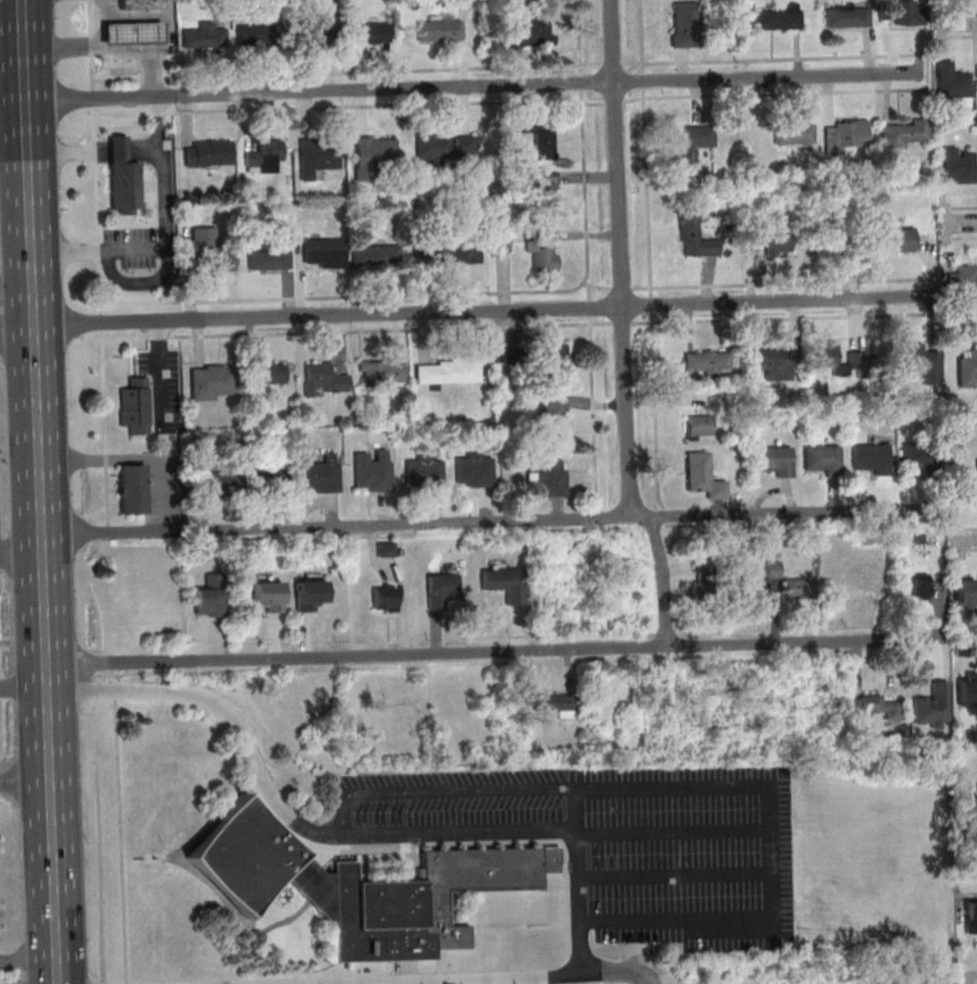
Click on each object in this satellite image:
building: (138, 4)
road: (957, 6)
road: (107, 8)
building: (900, 11)
building: (847, 15)
road: (136, 16)
building: (778, 17)
road: (107, 20)
road: (956, 22)
building: (315, 24)
building: (685, 24)
building: (438, 30)
building: (369, 32)
building: (530, 32)
building: (130, 33)
road: (166, 33)
road: (107, 34)
building: (251, 35)
road: (640, 35)
building: (203, 36)
road: (957, 36)
road: (578, 37)
road: (612, 41)
road: (90, 44)
road: (108, 47)
road: (110, 49)
road: (23, 51)
road: (769, 58)
road: (611, 62)
road: (347, 71)
road: (642, 79)
road: (581, 82)
building: (952, 82)
road: (472, 87)
road: (775, 93)
road: (582, 97)
road: (12, 103)
road: (614, 103)
road: (590, 104)
road: (157, 113)
road: (122, 114)
road: (26, 127)
building: (794, 133)
building: (903, 133)
building: (845, 135)
building: (544, 141)
building: (445, 146)
road: (143, 149)
building: (691, 149)
road: (67, 150)
road: (117, 150)
building: (207, 153)
building: (318, 154)
building: (373, 154)
building: (264, 157)
building: (958, 166)
building: (122, 178)
road: (647, 191)
building: (543, 195)
road: (30, 202)
road: (960, 208)
road: (97, 209)
road: (959, 223)
road: (586, 228)
building: (694, 237)
road: (959, 237)
road: (166, 238)
building: (895, 239)
building: (502, 241)
building: (778, 243)
building: (448, 249)
building: (210, 251)
building: (541, 251)
building: (324, 252)
building: (375, 255)
building: (268, 260)
road: (33, 274)
building: (962, 283)
road: (17, 297)
road: (621, 300)
road: (34, 313)
road: (482, 313)
road: (17, 331)
building: (824, 356)
building: (917, 357)
building: (552, 358)
building: (708, 362)
building: (775, 363)
building: (967, 368)
building: (381, 371)
building: (448, 371)
building: (268, 375)
building: (323, 379)
building: (213, 382)
road: (37, 396)
building: (134, 406)
road: (962, 409)
road: (104, 418)
building: (553, 421)
road: (965, 426)
building: (699, 427)
road: (964, 437)
building: (918, 457)
road: (137, 458)
building: (870, 458)
building: (821, 460)
building: (772, 461)
building: (473, 470)
building: (976, 470)
building: (372, 471)
building: (423, 472)
building: (321, 474)
building: (269, 475)
building: (703, 476)
building: (217, 478)
building: (547, 479)
building: (131, 489)
road: (41, 498)
road: (491, 522)
road: (964, 538)
road: (42, 546)
road: (965, 548)
building: (385, 549)
road: (21, 557)
building: (773, 569)
road: (663, 582)
building: (504, 583)
building: (918, 585)
building: (797, 590)
building: (440, 591)
building: (703, 591)
building: (964, 593)
building: (309, 594)
building: (268, 595)
building: (210, 596)
building: (384, 598)
road: (45, 611)
road: (493, 652)
road: (47, 675)
road: (23, 685)
building: (967, 688)
road: (47, 691)
building: (555, 703)
building: (932, 706)
building: (876, 707)
road: (967, 732)
road: (49, 739)
road: (968, 750)
road: (968, 769)
road: (25, 782)
road: (440, 790)
building: (967, 809)
road: (771, 826)
road: (350, 833)
road: (120, 841)
road: (54, 882)
building: (359, 885)
building: (970, 918)
road: (969, 960)
road: (28, 961)
road: (507, 979)
road: (970, 980)
road: (647, 983)

